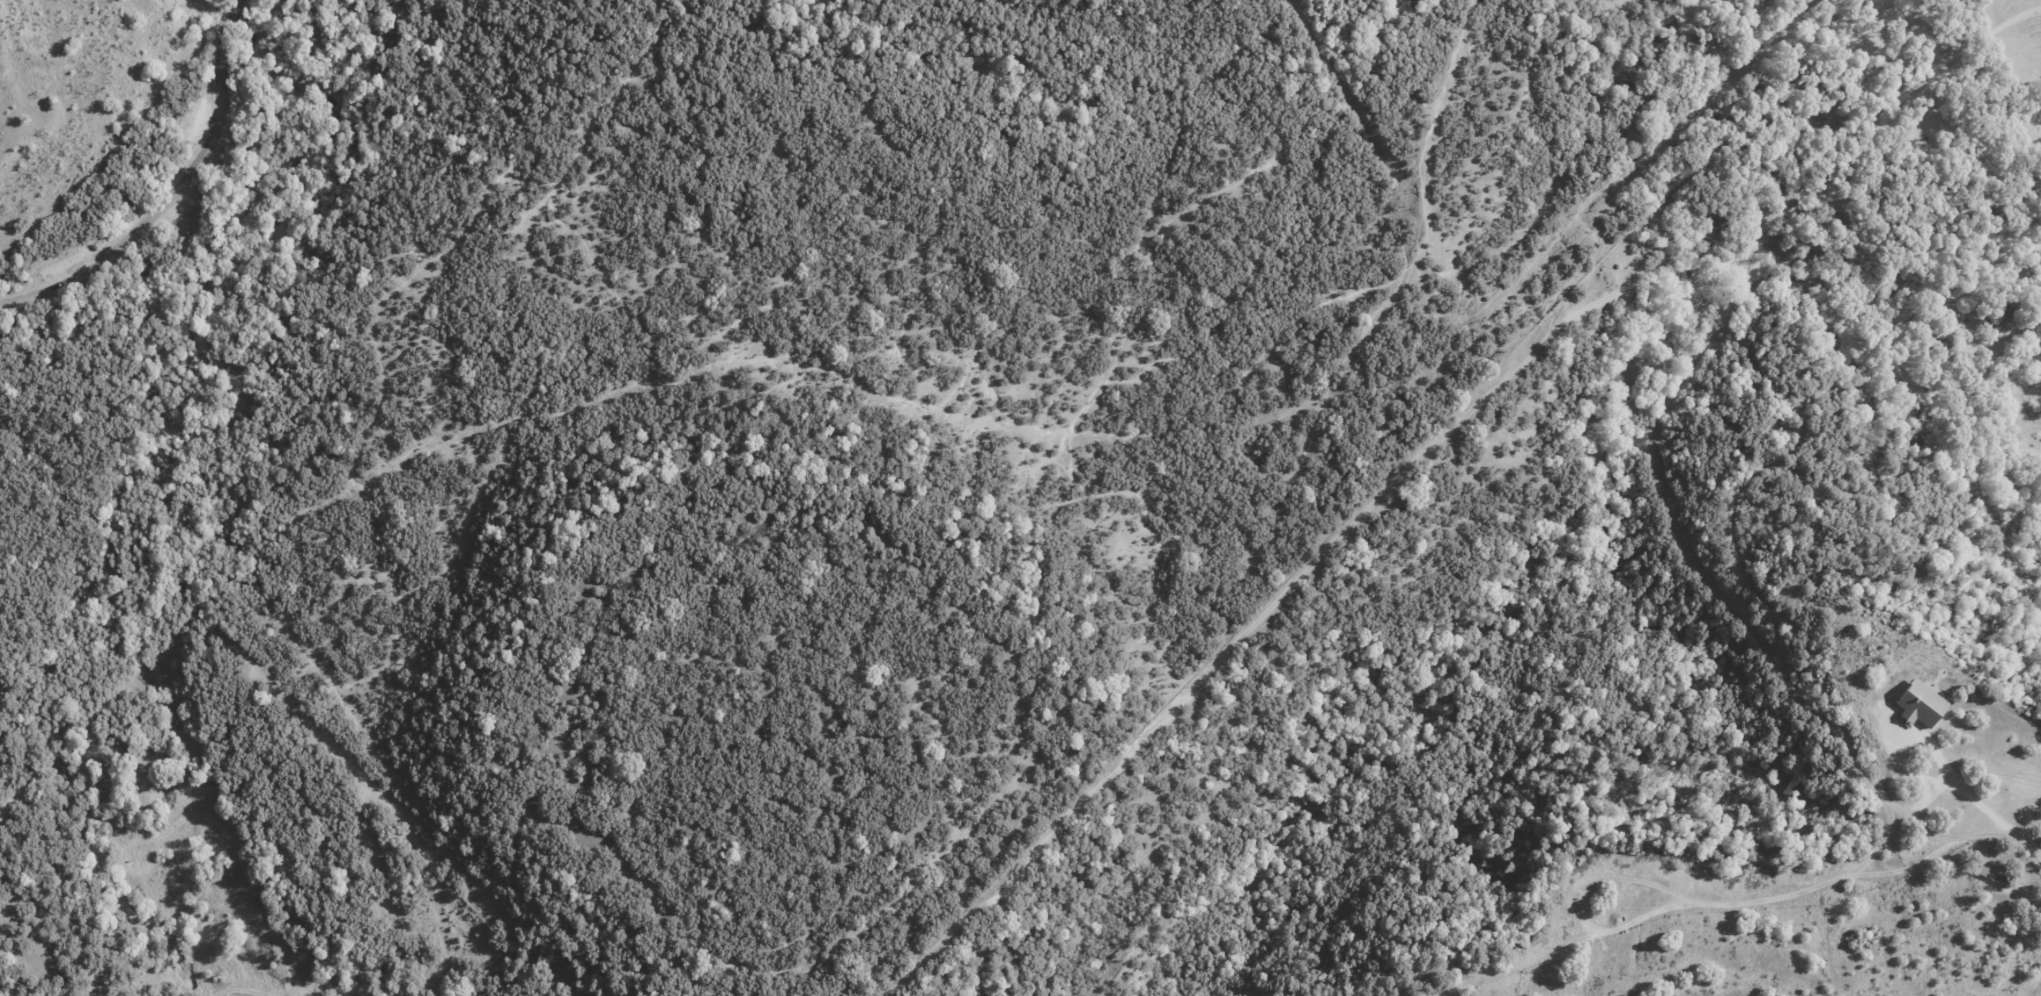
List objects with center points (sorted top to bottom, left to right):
road: (173, 191)
road: (2030, 358)
road: (1664, 435)
building: (1918, 705)
building: (1992, 877)
road: (268, 995)

